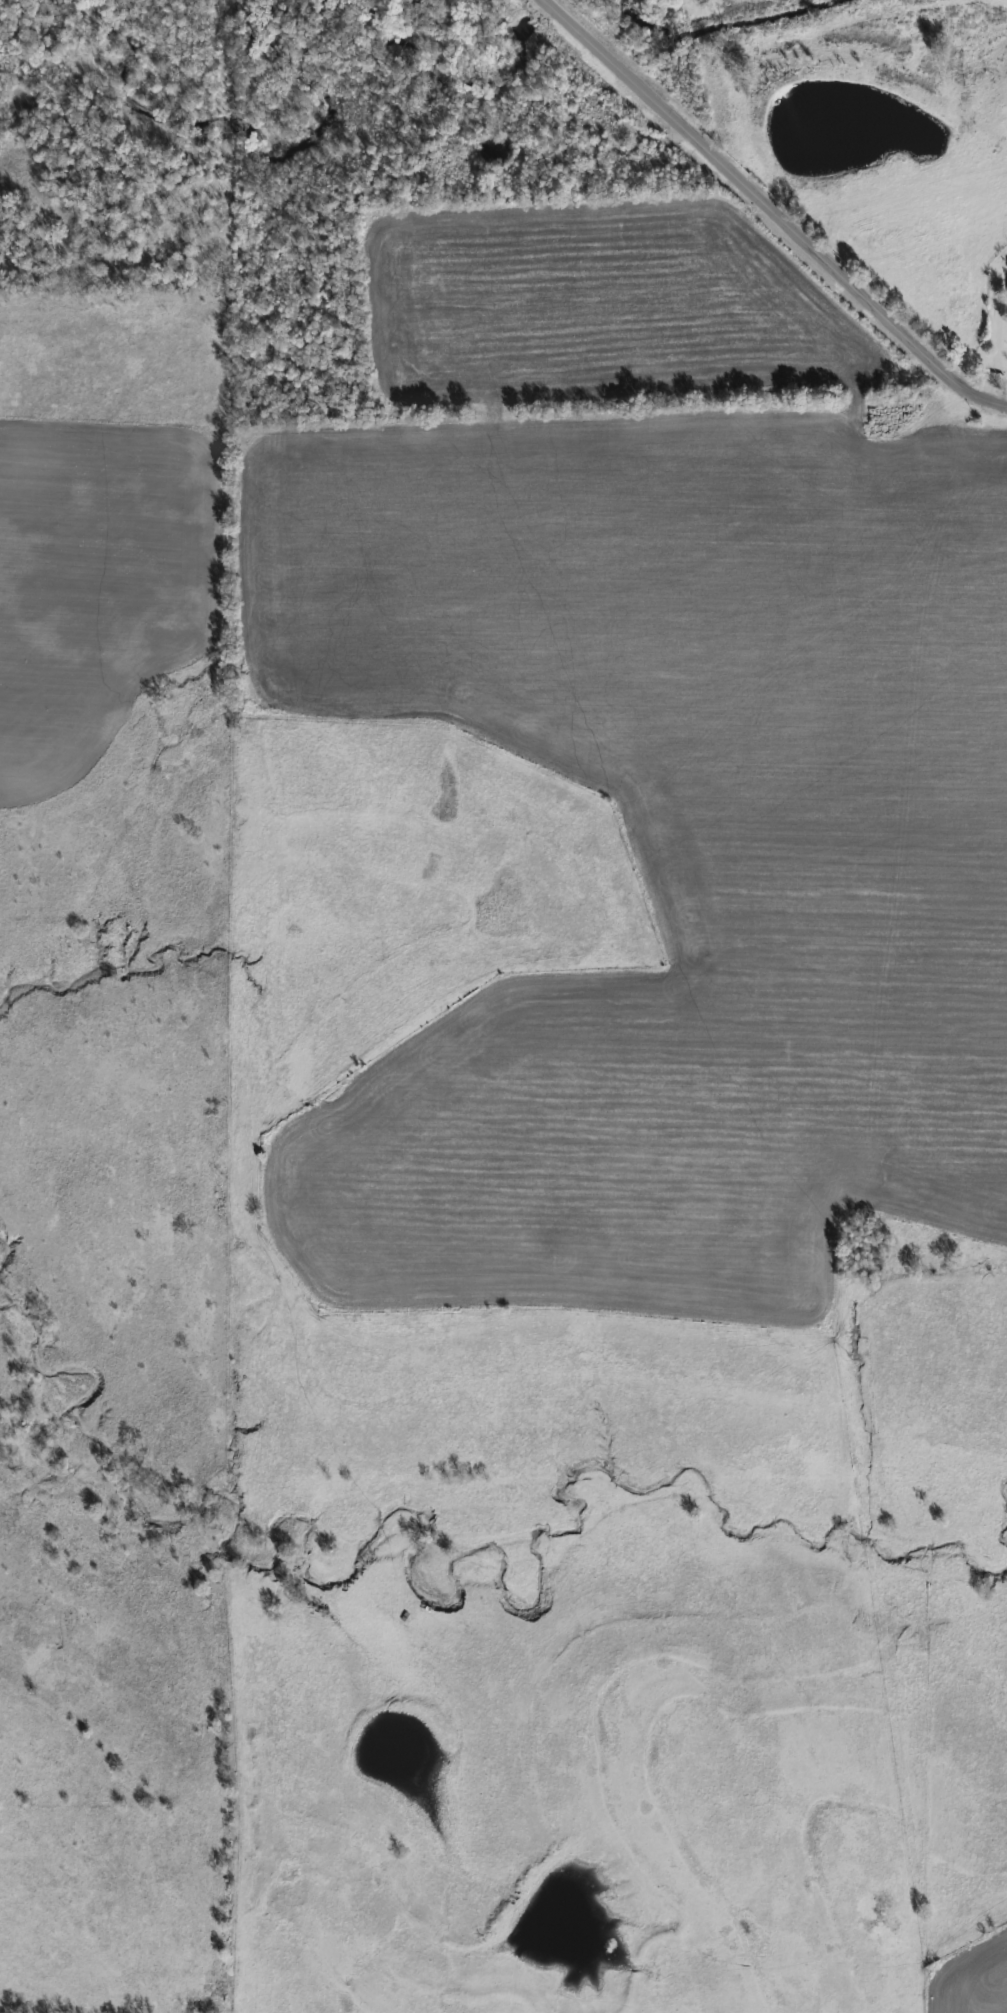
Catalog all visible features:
road: (775, 209)
road: (993, 348)

